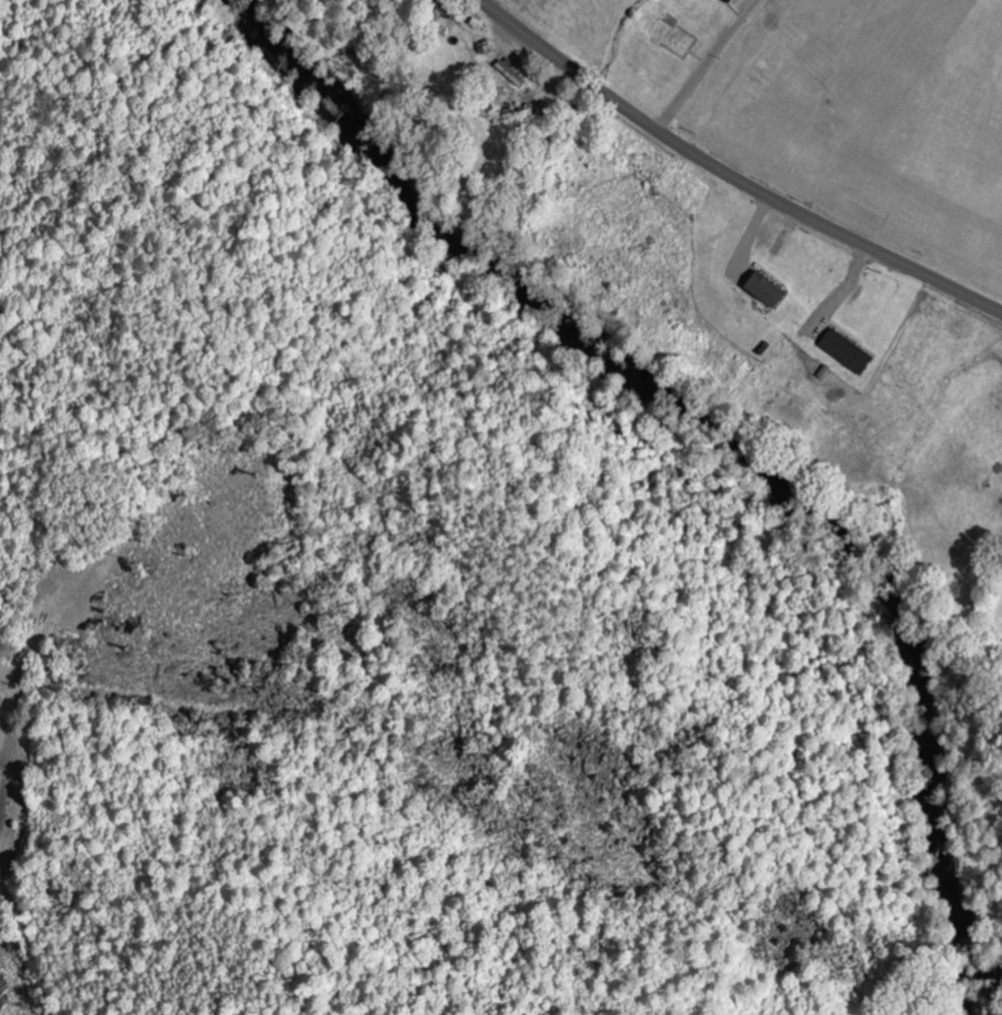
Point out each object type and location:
road: (729, 175)
building: (764, 291)
building: (846, 353)
building: (6, 675)

